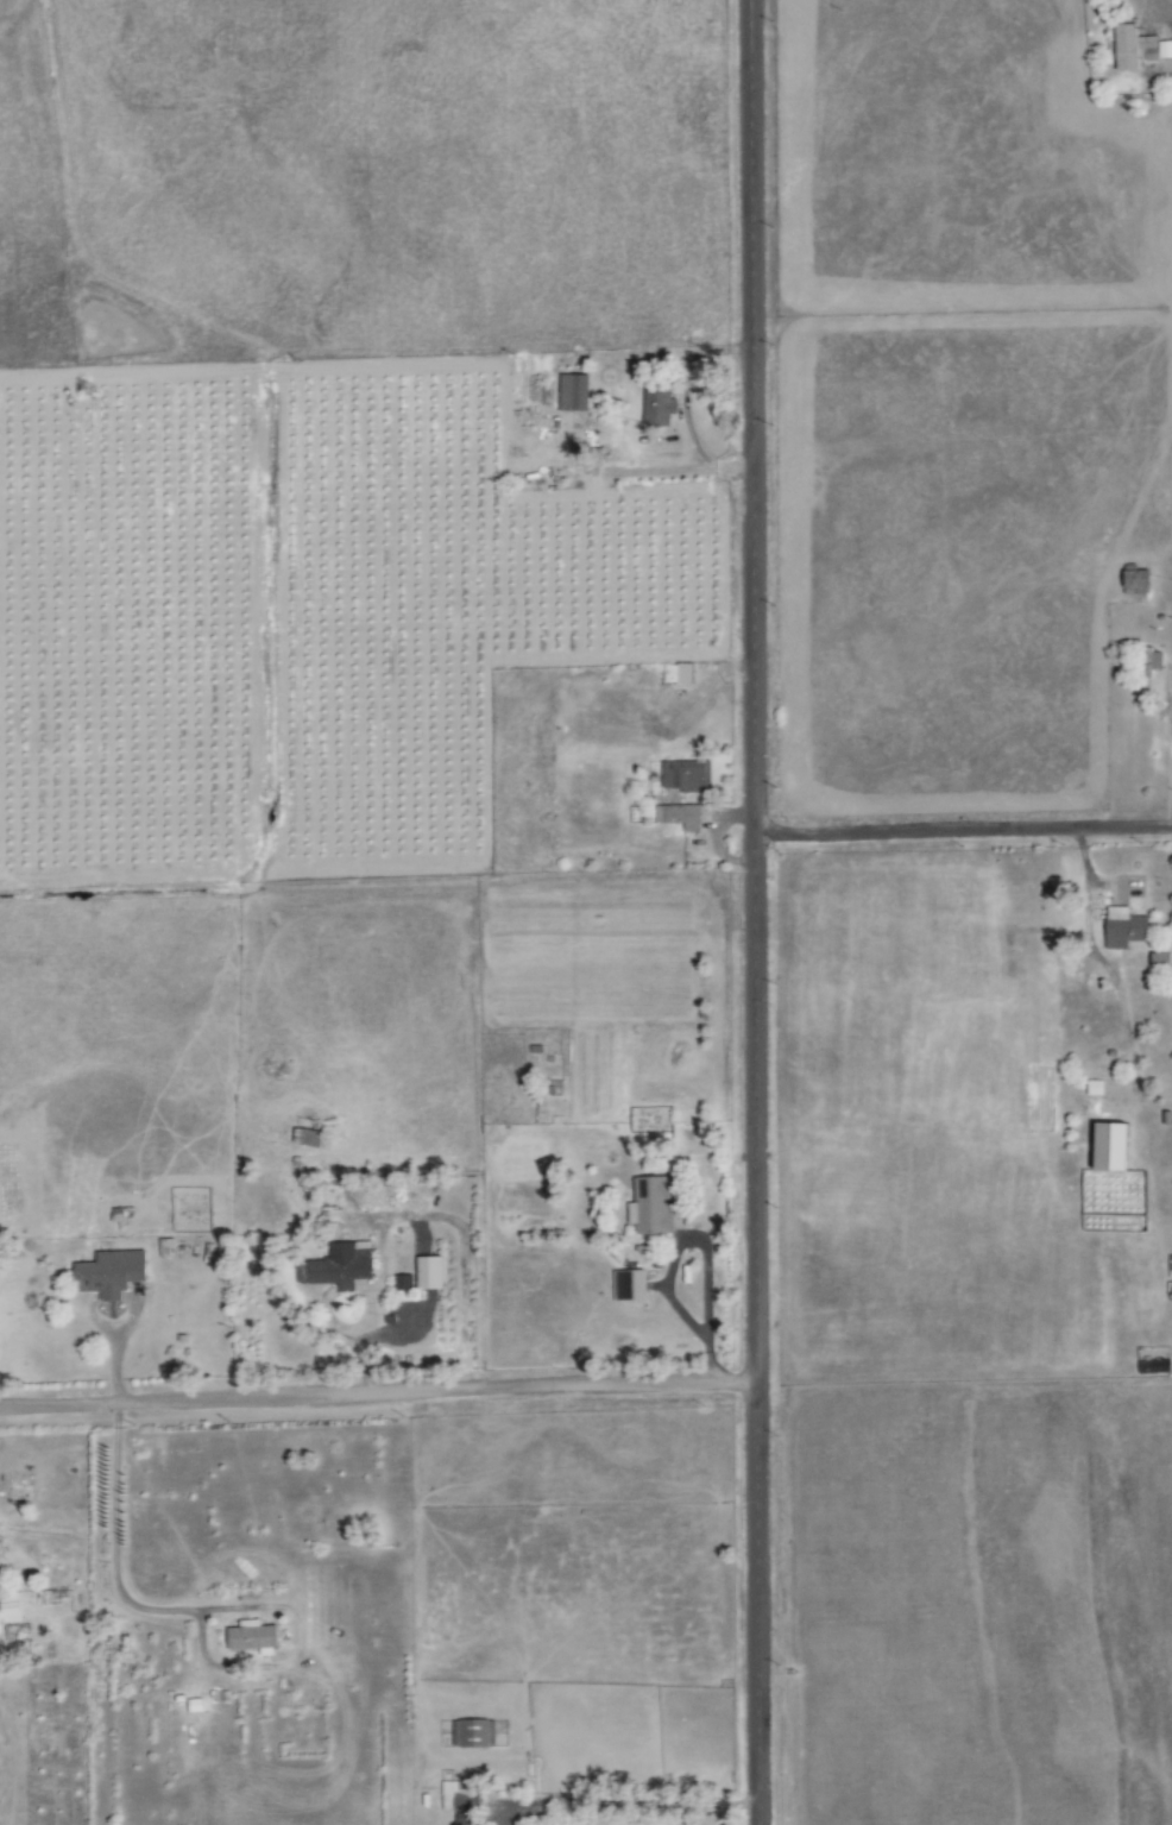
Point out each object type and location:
road: (1161, 13)
building: (1140, 48)
building: (574, 392)
building: (1140, 581)
building: (1152, 668)
building: (680, 673)
building: (686, 776)
building: (682, 817)
road: (963, 830)
road: (755, 912)
building: (1127, 929)
building: (310, 1138)
building: (1117, 1147)
building: (654, 1207)
building: (347, 1265)
building: (112, 1275)
building: (404, 1283)
building: (631, 1285)
road: (698, 1327)
road: (377, 1393)
building: (254, 1637)
building: (197, 1706)
building: (475, 1735)
building: (458, 1796)
building: (467, 1818)

